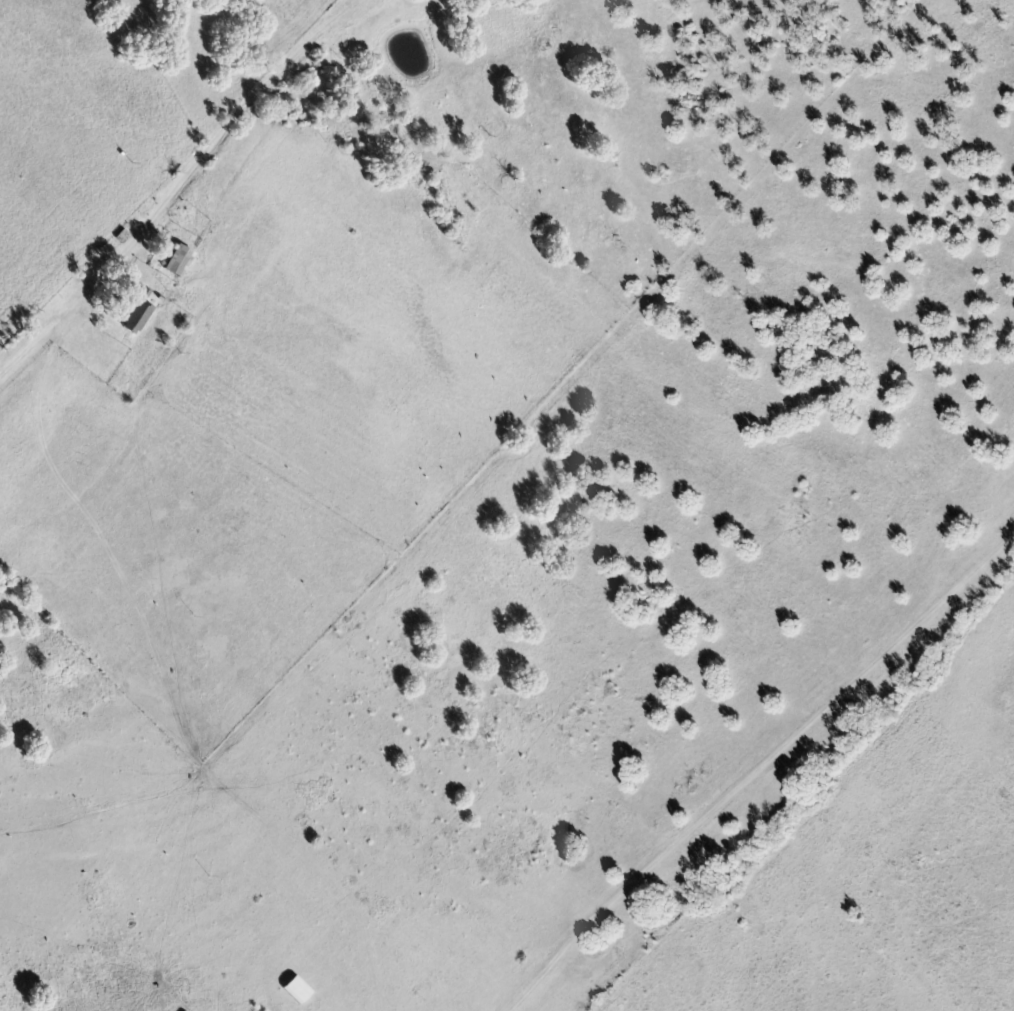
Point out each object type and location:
road: (188, 174)
building: (177, 261)
building: (136, 316)

